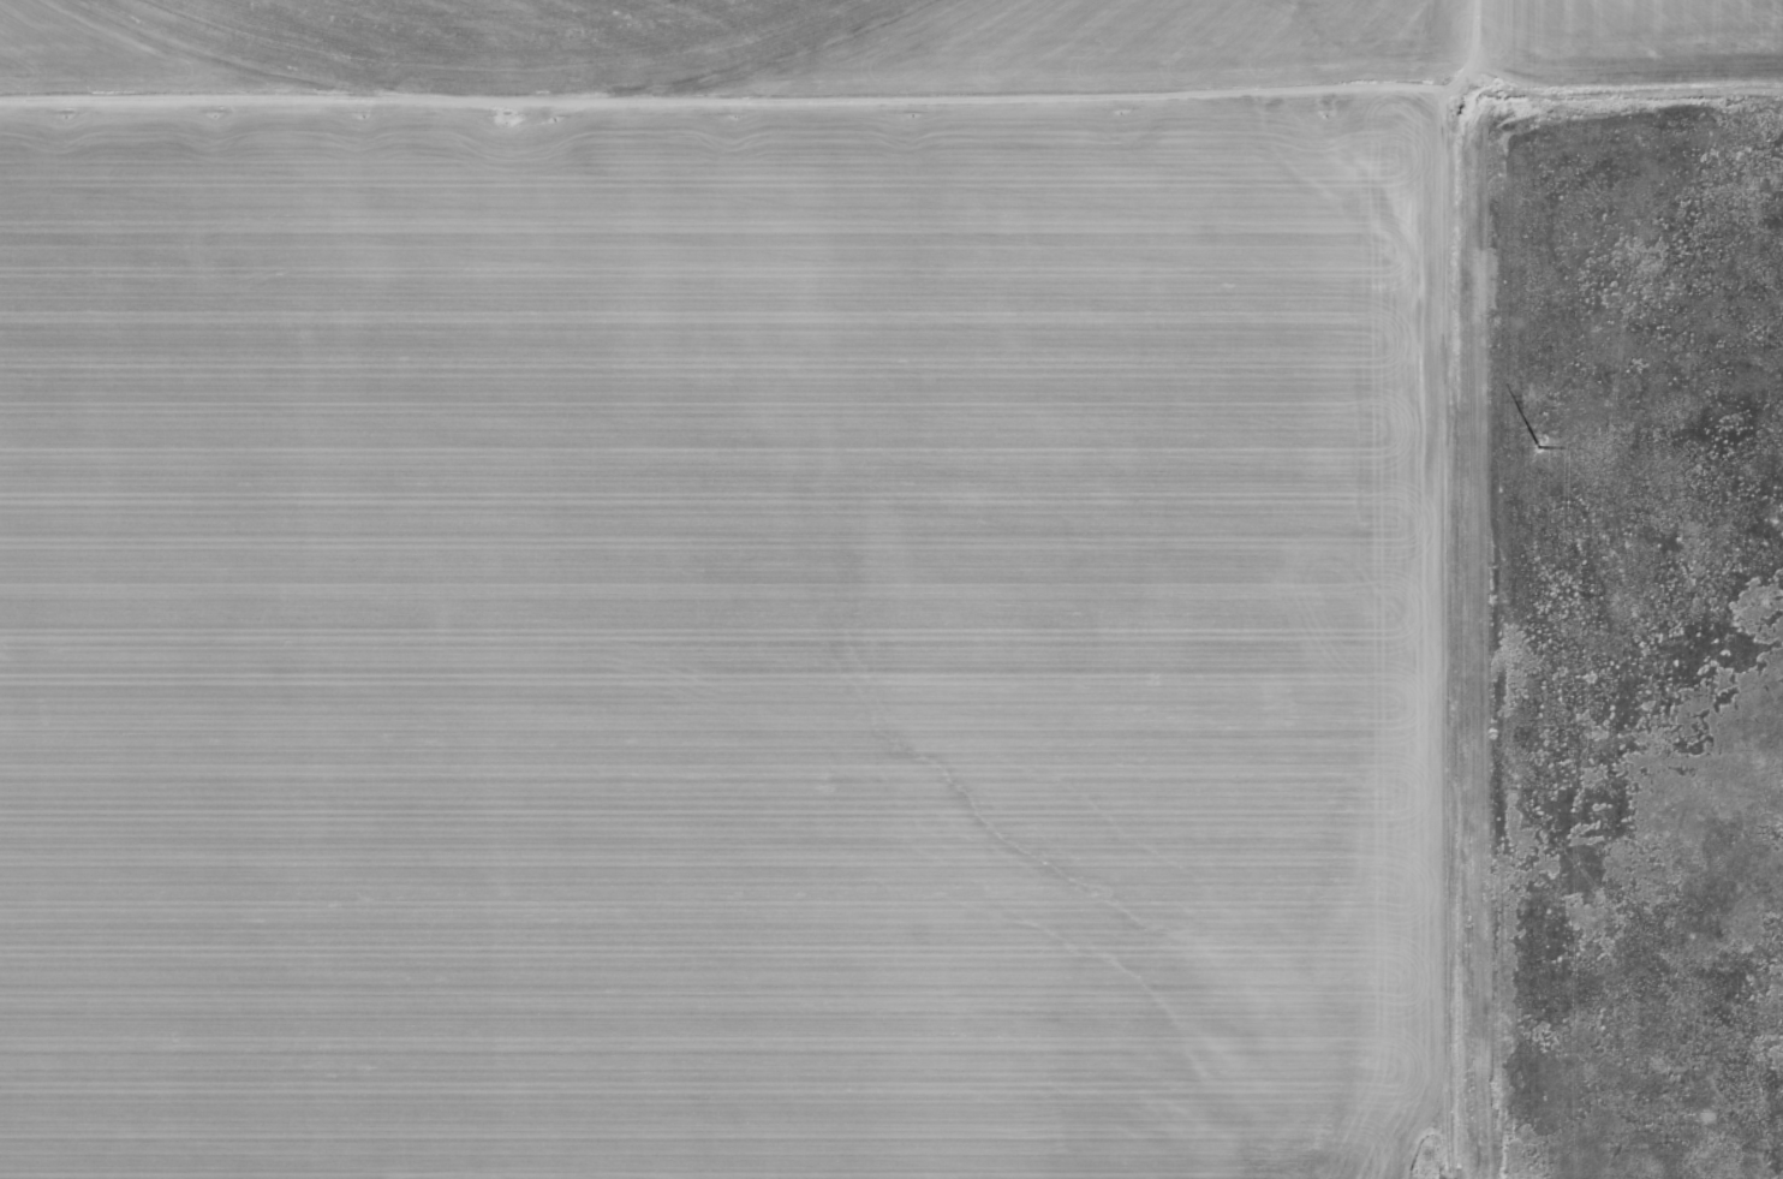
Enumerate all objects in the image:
power tower: (1538, 446)

